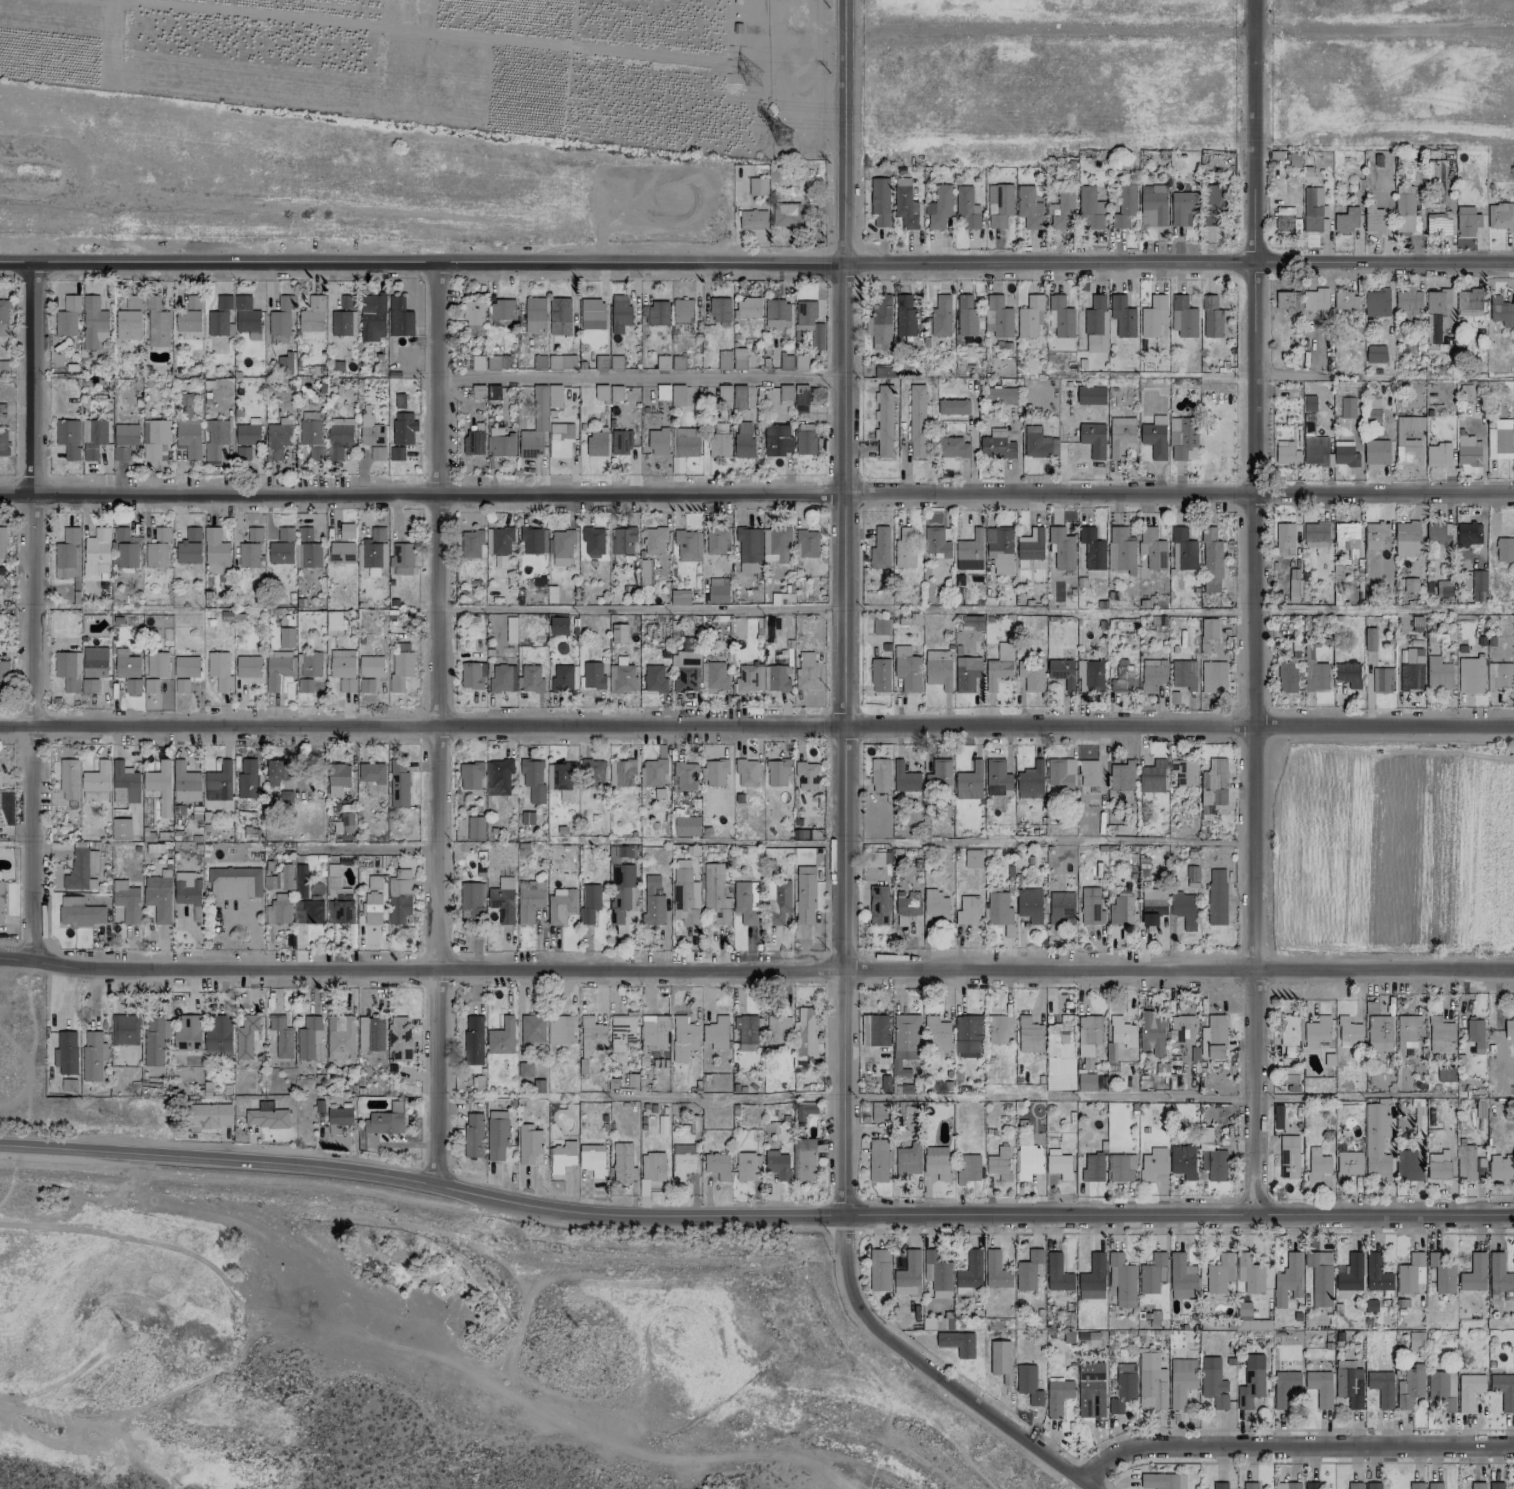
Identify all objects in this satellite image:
road: (842, 15)
road: (1178, 30)
road: (780, 32)
power tower: (753, 77)
power tower: (782, 138)
building: (1378, 160)
building: (757, 186)
building: (879, 202)
building: (1213, 202)
building: (904, 204)
building: (999, 204)
building: (1153, 205)
building: (1124, 206)
building: (938, 207)
building: (966, 207)
building: (1026, 207)
building: (1182, 207)
building: (1089, 208)
building: (1404, 208)
building: (1061, 209)
building: (1313, 210)
building: (787, 215)
building: (1500, 216)
building: (1375, 219)
building: (753, 220)
building: (1286, 220)
building: (1346, 220)
building: (1467, 221)
building: (1438, 224)
road: (756, 270)
building: (1345, 300)
building: (1408, 300)
building: (1287, 301)
building: (1316, 301)
building: (347, 302)
building: (1468, 302)
building: (1376, 303)
building: (747, 308)
building: (501, 309)
building: (682, 310)
building: (719, 311)
building: (1501, 311)
building: (473, 312)
building: (658, 312)
building: (619, 313)
building: (776, 313)
building: (1434, 313)
building: (591, 314)
building: (4, 315)
building: (312, 315)
building: (534, 315)
building: (559, 316)
building: (905, 316)
building: (940, 316)
building: (966, 316)
building: (998, 316)
building: (1030, 316)
building: (1061, 316)
building: (1122, 316)
building: (1153, 316)
building: (1183, 316)
building: (67, 317)
building: (220, 317)
building: (247, 317)
building: (281, 317)
building: (372, 317)
building: (399, 317)
building: (1213, 317)
building: (129, 319)
building: (188, 320)
building: (809, 320)
building: (93, 322)
building: (157, 323)
building: (342, 323)
building: (880, 323)
building: (1096, 324)
building: (473, 329)
building: (1375, 354)
building: (739, 358)
building: (724, 360)
building: (477, 362)
building: (497, 362)
building: (539, 362)
building: (561, 362)
building: (662, 362)
building: (793, 362)
building: (284, 363)
building: (882, 370)
road: (638, 379)
building: (615, 392)
building: (662, 392)
building: (785, 392)
building: (601, 393)
building: (1466, 393)
building: (677, 395)
building: (723, 395)
building: (800, 395)
building: (1001, 395)
building: (1090, 395)
building: (739, 396)
building: (399, 401)
building: (1308, 403)
building: (953, 406)
building: (1347, 407)
building: (2, 410)
building: (537, 421)
building: (883, 421)
building: (916, 421)
building: (1410, 423)
building: (403, 427)
building: (371, 431)
building: (309, 432)
building: (247, 434)
building: (67, 437)
building: (92, 437)
building: (1120, 437)
building: (1154, 437)
building: (188, 438)
building: (1182, 438)
building: (214, 439)
building: (339, 439)
building: (776, 439)
building: (805, 439)
building: (1093, 439)
building: (1500, 439)
building: (124, 440)
building: (155, 440)
building: (277, 440)
building: (560, 440)
building: (719, 440)
building: (743, 440)
building: (658, 441)
building: (473, 442)
building: (499, 442)
building: (620, 442)
building: (685, 442)
building: (3, 443)
building: (1038, 443)
building: (596, 444)
building: (996, 445)
building: (952, 447)
building: (1314, 450)
building: (1407, 451)
building: (1468, 451)
building: (242, 453)
building: (377, 453)
building: (395, 453)
building: (1286, 453)
building: (1376, 453)
building: (1344, 454)
building: (1437, 455)
road: (756, 495)
building: (346, 531)
building: (1315, 531)
building: (254, 533)
building: (1438, 533)
building: (120, 534)
building: (161, 534)
building: (304, 534)
building: (1468, 534)
building: (1346, 535)
building: (1375, 535)
building: (1284, 537)
building: (1407, 539)
building: (533, 540)
building: (622, 540)
building: (653, 540)
building: (716, 540)
building: (501, 541)
building: (592, 541)
building: (471, 542)
building: (936, 542)
building: (2, 543)
building: (807, 543)
building: (775, 544)
building: (1030, 544)
building: (1313, 544)
building: (748, 545)
building: (189, 546)
building: (281, 546)
building: (688, 546)
building: (970, 546)
building: (562, 547)
building: (904, 547)
building: (1061, 547)
building: (1152, 547)
building: (879, 548)
building: (1092, 548)
building: (215, 549)
building: (1120, 549)
building: (1182, 549)
building: (1504, 549)
building: (96, 552)
building: (341, 552)
building: (126, 555)
building: (155, 555)
building: (248, 555)
building: (310, 555)
building: (372, 557)
building: (402, 558)
building: (1211, 561)
building: (1410, 585)
building: (1478, 585)
building: (1443, 588)
building: (718, 590)
building: (1294, 591)
building: (679, 597)
road: (1251, 607)
road: (975, 609)
road: (30, 616)
building: (971, 622)
building: (333, 623)
building: (558, 626)
building: (881, 626)
building: (1208, 629)
building: (510, 630)
building: (618, 633)
building: (285, 637)
building: (125, 664)
building: (156, 664)
building: (310, 664)
building: (186, 666)
building: (247, 666)
building: (370, 666)
building: (400, 666)
building: (999, 667)
building: (906, 668)
building: (937, 668)
building: (278, 669)
building: (342, 669)
building: (67, 670)
building: (806, 670)
building: (1411, 670)
building: (219, 671)
building: (685, 671)
building: (92, 672)
building: (1062, 672)
building: (966, 673)
building: (1438, 673)
building: (1152, 674)
building: (1183, 674)
building: (1347, 674)
building: (472, 675)
building: (592, 675)
building: (713, 675)
building: (880, 675)
building: (1315, 675)
building: (1470, 675)
building: (3, 676)
building: (1030, 676)
building: (1089, 676)
building: (1499, 676)
building: (1213, 677)
building: (1287, 677)
building: (499, 678)
building: (561, 678)
building: (622, 678)
building: (749, 678)
building: (778, 678)
building: (529, 679)
building: (654, 679)
building: (1123, 680)
building: (1382, 680)
building: (132, 685)
building: (150, 685)
building: (181, 685)
building: (304, 685)
building: (365, 685)
road: (437, 726)
road: (756, 727)
building: (288, 770)
building: (274, 772)
building: (621, 772)
building: (653, 772)
building: (746, 772)
building: (777, 772)
building: (939, 772)
building: (1060, 772)
building: (1184, 772)
building: (371, 773)
building: (592, 773)
building: (715, 773)
building: (1091, 773)
building: (470, 775)
building: (806, 775)
building: (879, 775)
building: (559, 776)
building: (684, 776)
building: (1122, 776)
building: (498, 777)
building: (1152, 777)
building: (247, 778)
building: (904, 778)
building: (997, 778)
building: (68, 779)
building: (532, 779)
building: (1030, 781)
building: (96, 782)
building: (185, 782)
building: (218, 782)
building: (969, 782)
building: (124, 784)
building: (398, 784)
building: (1213, 786)
building: (159, 787)
building: (285, 797)
building: (346, 822)
road: (840, 824)
building: (686, 826)
building: (475, 828)
road: (1046, 843)
road: (355, 848)
building: (618, 853)
building: (876, 858)
building: (972, 858)
building: (81, 868)
building: (332, 876)
building: (1192, 876)
building: (282, 877)
building: (301, 881)
building: (234, 882)
building: (187, 889)
building: (620, 891)
building: (715, 893)
building: (804, 895)
building: (399, 896)
building: (685, 896)
building: (1216, 896)
building: (158, 898)
building: (502, 900)
building: (529, 900)
building: (652, 900)
building: (1, 901)
building: (126, 901)
building: (372, 901)
building: (471, 901)
building: (589, 902)
building: (745, 902)
building: (778, 902)
building: (935, 903)
building: (560, 904)
building: (1029, 904)
building: (878, 905)
building: (1152, 905)
building: (1090, 906)
building: (907, 907)
building: (1060, 908)
building: (1183, 908)
building: (279, 909)
building: (340, 909)
building: (967, 910)
building: (308, 911)
building: (999, 911)
building: (79, 912)
building: (1119, 914)
road: (756, 972)
building: (1370, 1007)
building: (998, 1028)
building: (1182, 1028)
building: (1509, 1028)
building: (124, 1029)
building: (561, 1029)
building: (778, 1029)
building: (1474, 1029)
building: (532, 1030)
building: (877, 1030)
building: (1406, 1030)
building: (621, 1031)
building: (654, 1032)
building: (746, 1032)
building: (1122, 1032)
building: (1152, 1032)
building: (1316, 1032)
building: (1348, 1032)
building: (187, 1033)
building: (370, 1033)
building: (592, 1033)
building: (715, 1033)
building: (967, 1033)
building: (1378, 1033)
building: (936, 1034)
building: (1088, 1034)
building: (1291, 1034)
building: (217, 1035)
building: (1029, 1035)
building: (1440, 1035)
building: (245, 1036)
building: (281, 1036)
building: (339, 1036)
building: (805, 1036)
building: (1216, 1036)
building: (308, 1037)
building: (399, 1037)
building: (501, 1037)
building: (684, 1038)
building: (155, 1039)
building: (473, 1039)
building: (904, 1041)
building: (1477, 1048)
building: (65, 1052)
building: (1060, 1054)
building: (92, 1055)
building: (524, 1069)
building: (1289, 1074)
building: (1445, 1074)
building: (1086, 1082)
road: (1175, 1096)
building: (804, 1110)
building: (879, 1113)
building: (210, 1115)
building: (266, 1116)
building: (339, 1118)
building: (385, 1120)
building: (496, 1134)
building: (472, 1135)
building: (1375, 1142)
building: (528, 1143)
building: (562, 1156)
building: (1289, 1156)
building: (592, 1159)
building: (804, 1159)
building: (907, 1159)
building: (682, 1160)
building: (878, 1160)
building: (1028, 1161)
building: (1183, 1161)
building: (936, 1162)
building: (623, 1163)
building: (999, 1163)
building: (1153, 1163)
building: (777, 1164)
building: (1058, 1164)
building: (1214, 1164)
building: (1317, 1164)
building: (1469, 1164)
building: (717, 1165)
building: (1438, 1165)
building: (747, 1166)
building: (1348, 1166)
building: (1407, 1166)
building: (1500, 1166)
building: (1121, 1167)
building: (1092, 1168)
building: (968, 1169)
building: (650, 1170)
road: (754, 1221)
building: (879, 1269)
building: (970, 1270)
building: (995, 1270)
building: (1027, 1270)
building: (936, 1273)
building: (1057, 1273)
building: (1152, 1273)
building: (1218, 1273)
building: (1249, 1273)
building: (1351, 1273)
building: (1376, 1273)
building: (1410, 1273)
building: (1441, 1273)
building: (1474, 1273)
building: (1498, 1274)
building: (908, 1275)
building: (1320, 1276)
building: (1181, 1277)
building: (1092, 1278)
building: (1122, 1280)
building: (1287, 1280)
road: (236, 1288)
building: (1246, 1317)
building: (935, 1324)
building: (1416, 1341)
building: (957, 1343)
building: (1000, 1360)
building: (1151, 1380)
building: (1181, 1380)
building: (1213, 1382)
building: (1028, 1384)
building: (1350, 1386)
building: (1123, 1387)
building: (1284, 1387)
building: (1320, 1387)
building: (1381, 1387)
building: (1250, 1388)
building: (1410, 1388)
building: (1090, 1389)
building: (1468, 1390)
building: (1504, 1390)
building: (1441, 1392)
building: (1057, 1396)
road: (1296, 1445)
building: (1162, 1481)
building: (1219, 1485)
building: (1250, 1485)
building: (1293, 1485)
building: (1312, 1485)
building: (1354, 1485)
building: (1373, 1485)
building: (1416, 1485)
building: (1434, 1485)
building: (1477, 1485)
building: (1496, 1485)

